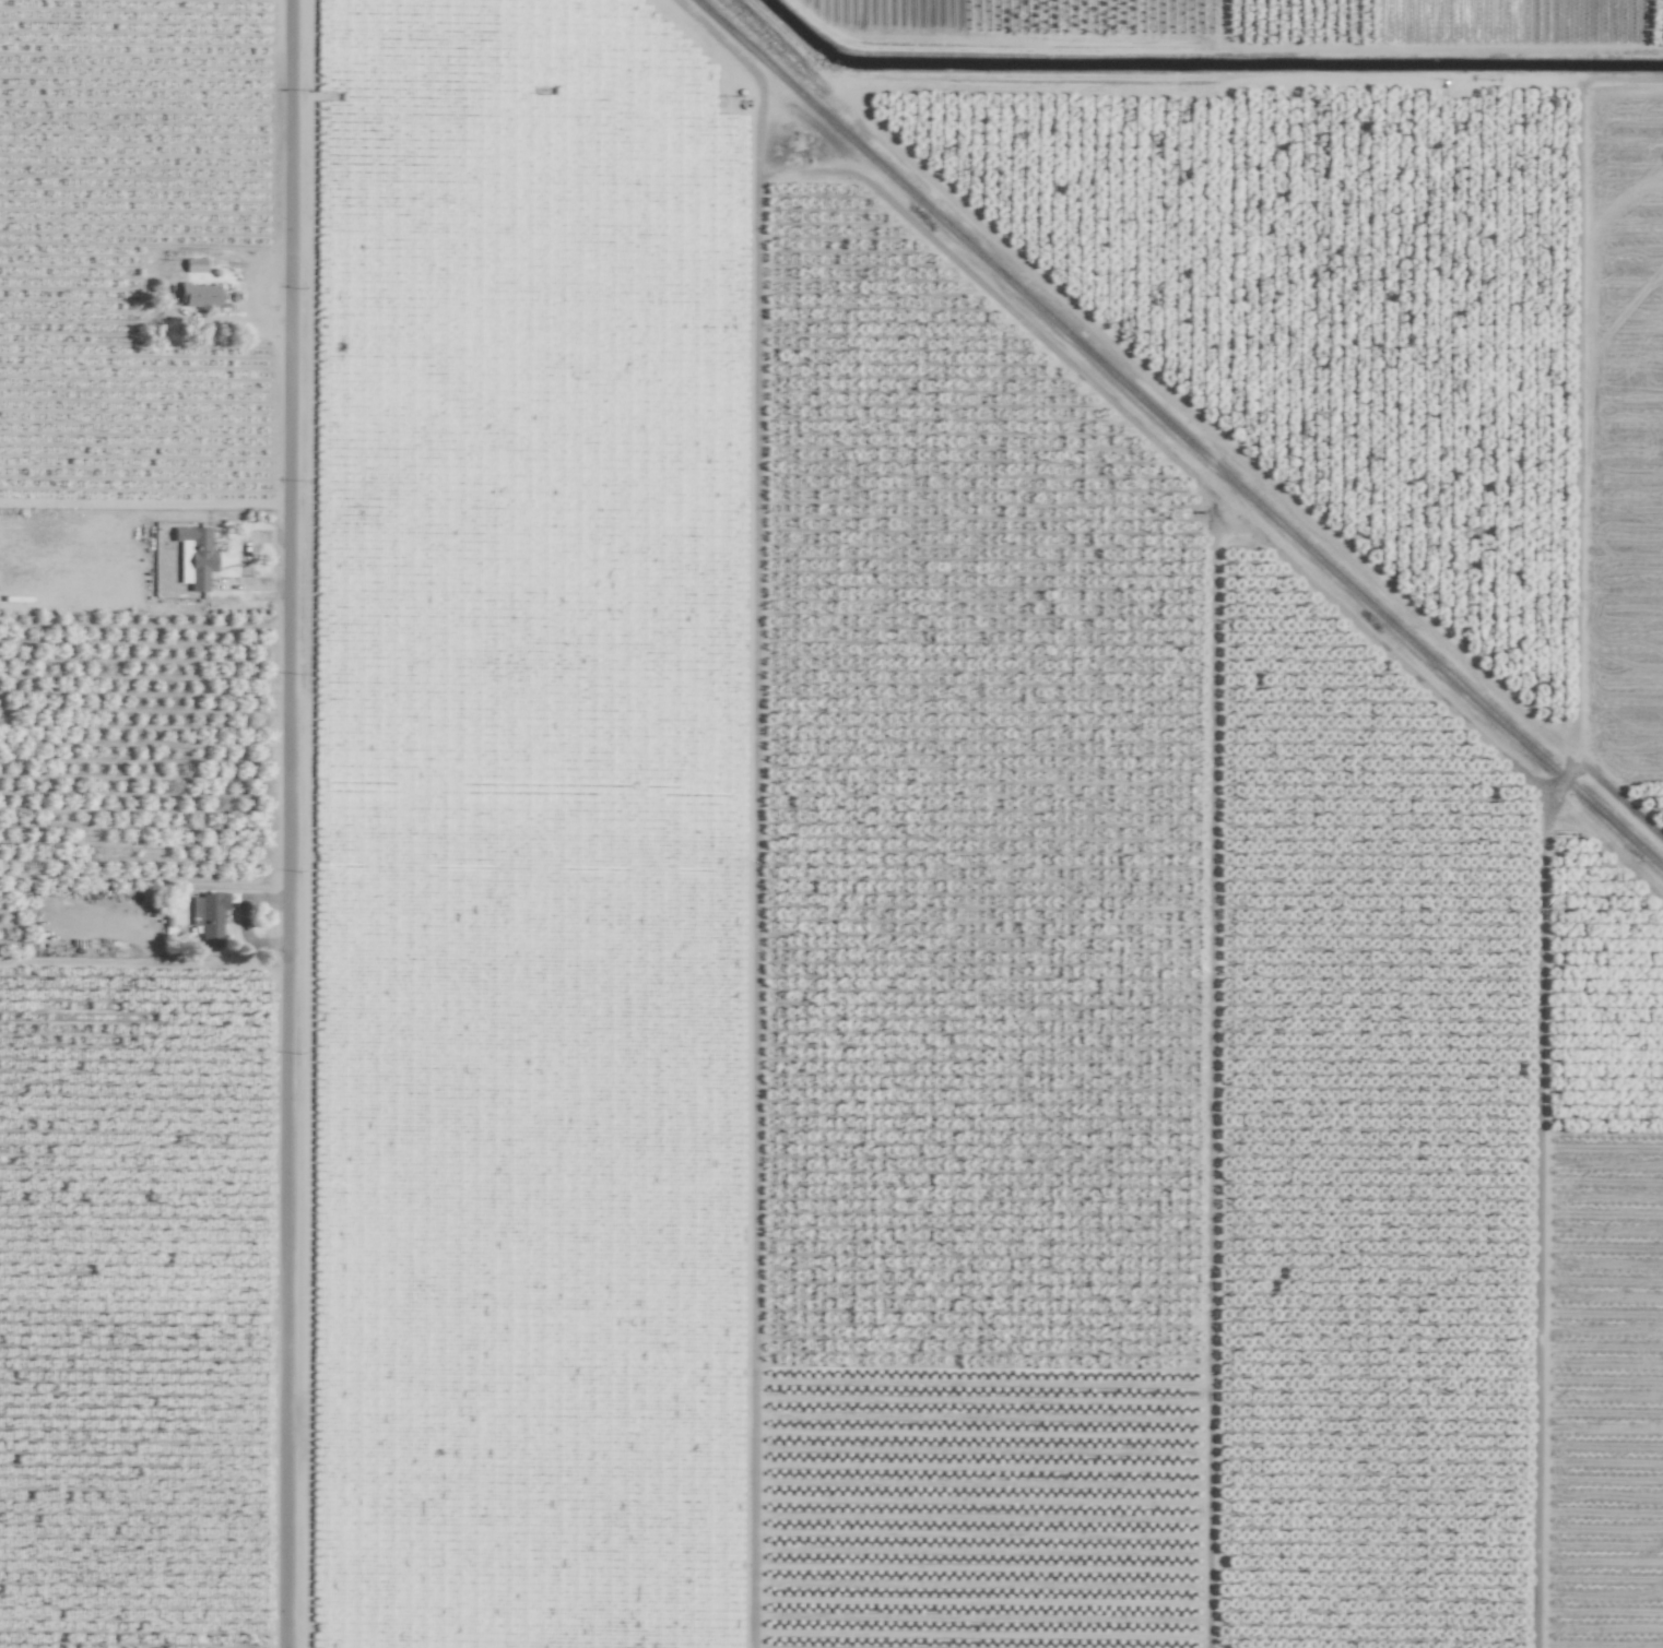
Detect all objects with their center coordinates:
building: (193, 265)
building: (199, 296)
railway: (1178, 434)
building: (194, 557)
road: (286, 823)
building: (208, 918)
road: (241, 922)

